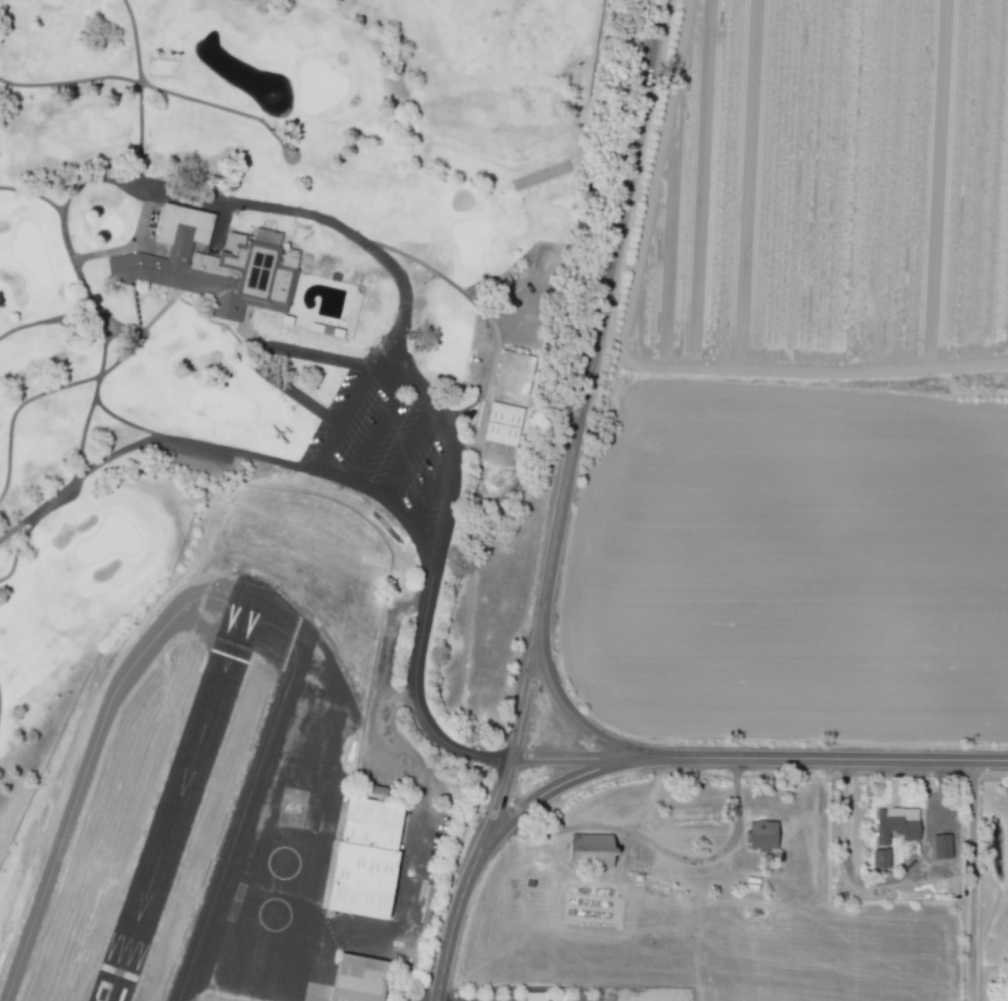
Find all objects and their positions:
road: (365, 243)
building: (206, 267)
road: (261, 352)
building: (511, 373)
road: (361, 379)
road: (479, 387)
road: (578, 418)
road: (375, 428)
building: (498, 434)
road: (144, 441)
road: (404, 452)
road: (429, 488)
park: (115, 511)
airport runway: (249, 579)
airport taxiway: (232, 594)
airport taxiway: (339, 672)
road: (417, 695)
road: (570, 711)
road: (573, 758)
road: (821, 758)
airport: (256, 781)
road: (556, 787)
building: (894, 824)
airport hangar: (377, 826)
building: (377, 826)
building: (759, 835)
road: (653, 843)
building: (939, 846)
building: (587, 850)
building: (878, 858)
road: (971, 880)
road: (884, 881)
airport hangar: (364, 882)
building: (364, 882)
building: (424, 903)
road: (455, 915)
airport hangar: (363, 980)
building: (363, 980)
building: (532, 996)

